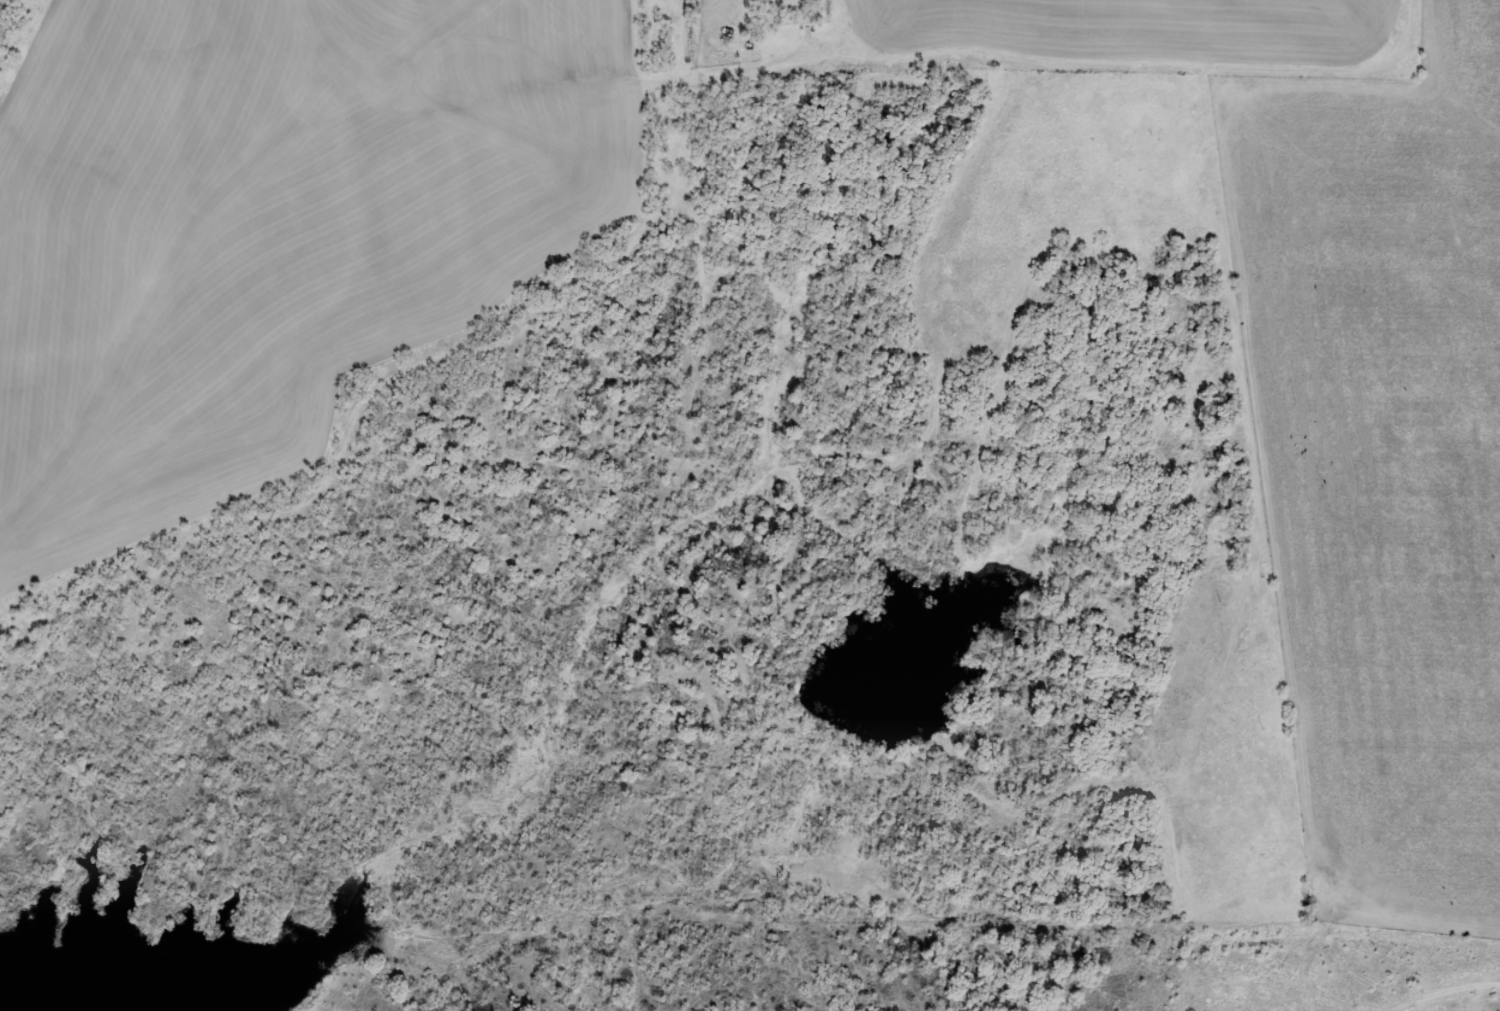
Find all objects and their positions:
road: (1127, 69)
road: (1254, 541)

